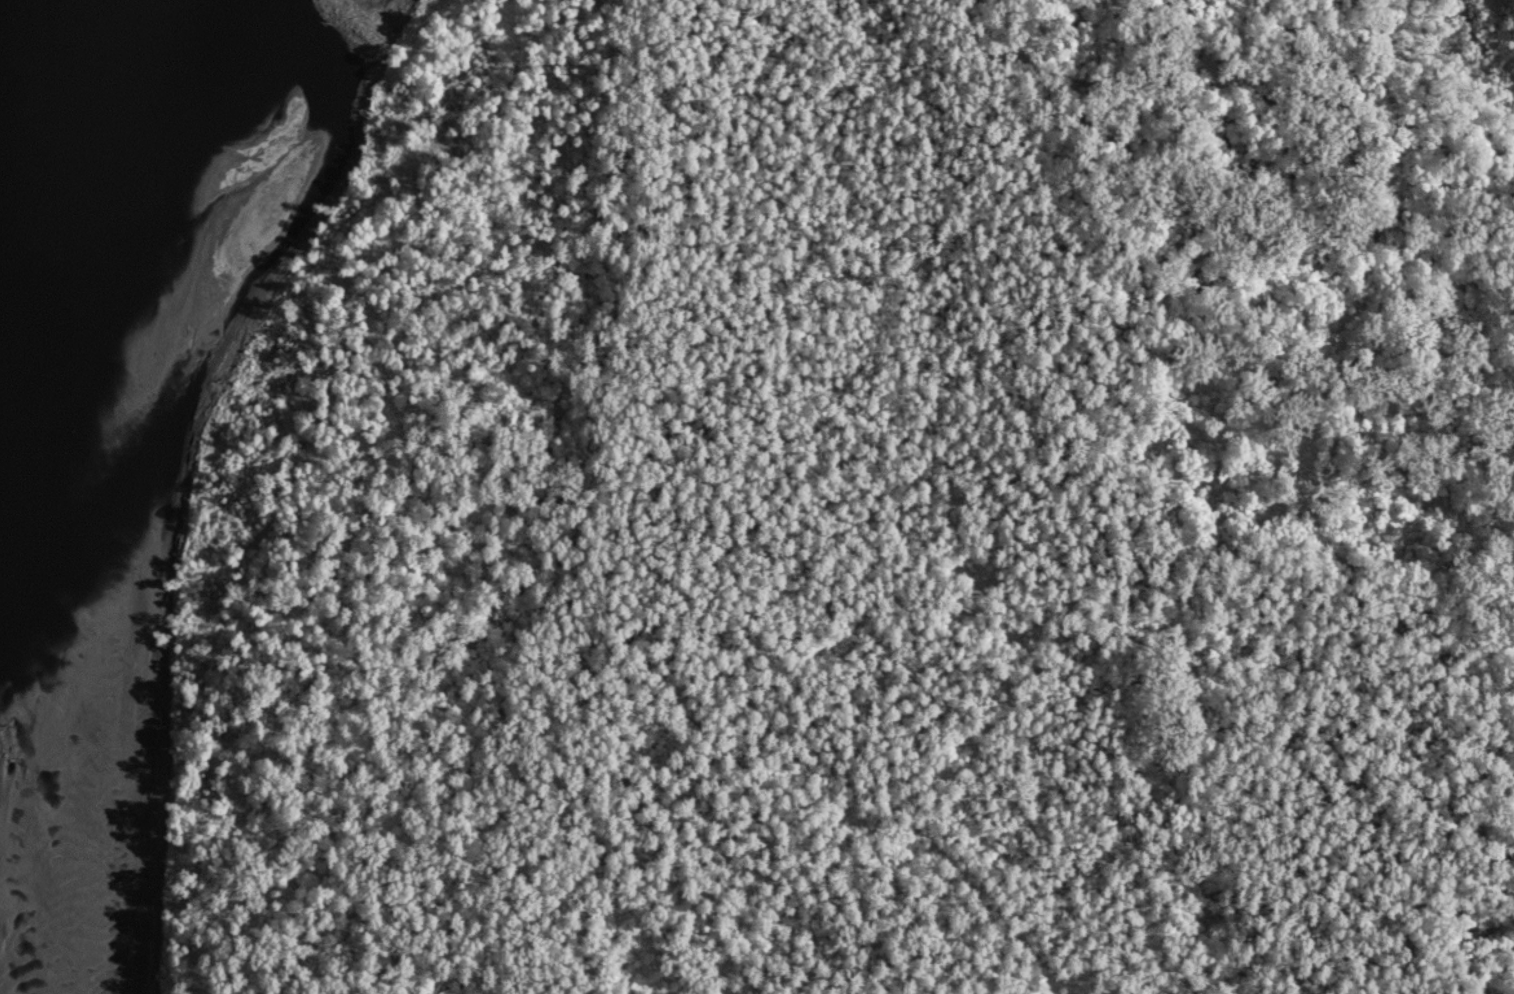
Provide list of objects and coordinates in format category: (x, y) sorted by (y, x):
river: (95, 102)

